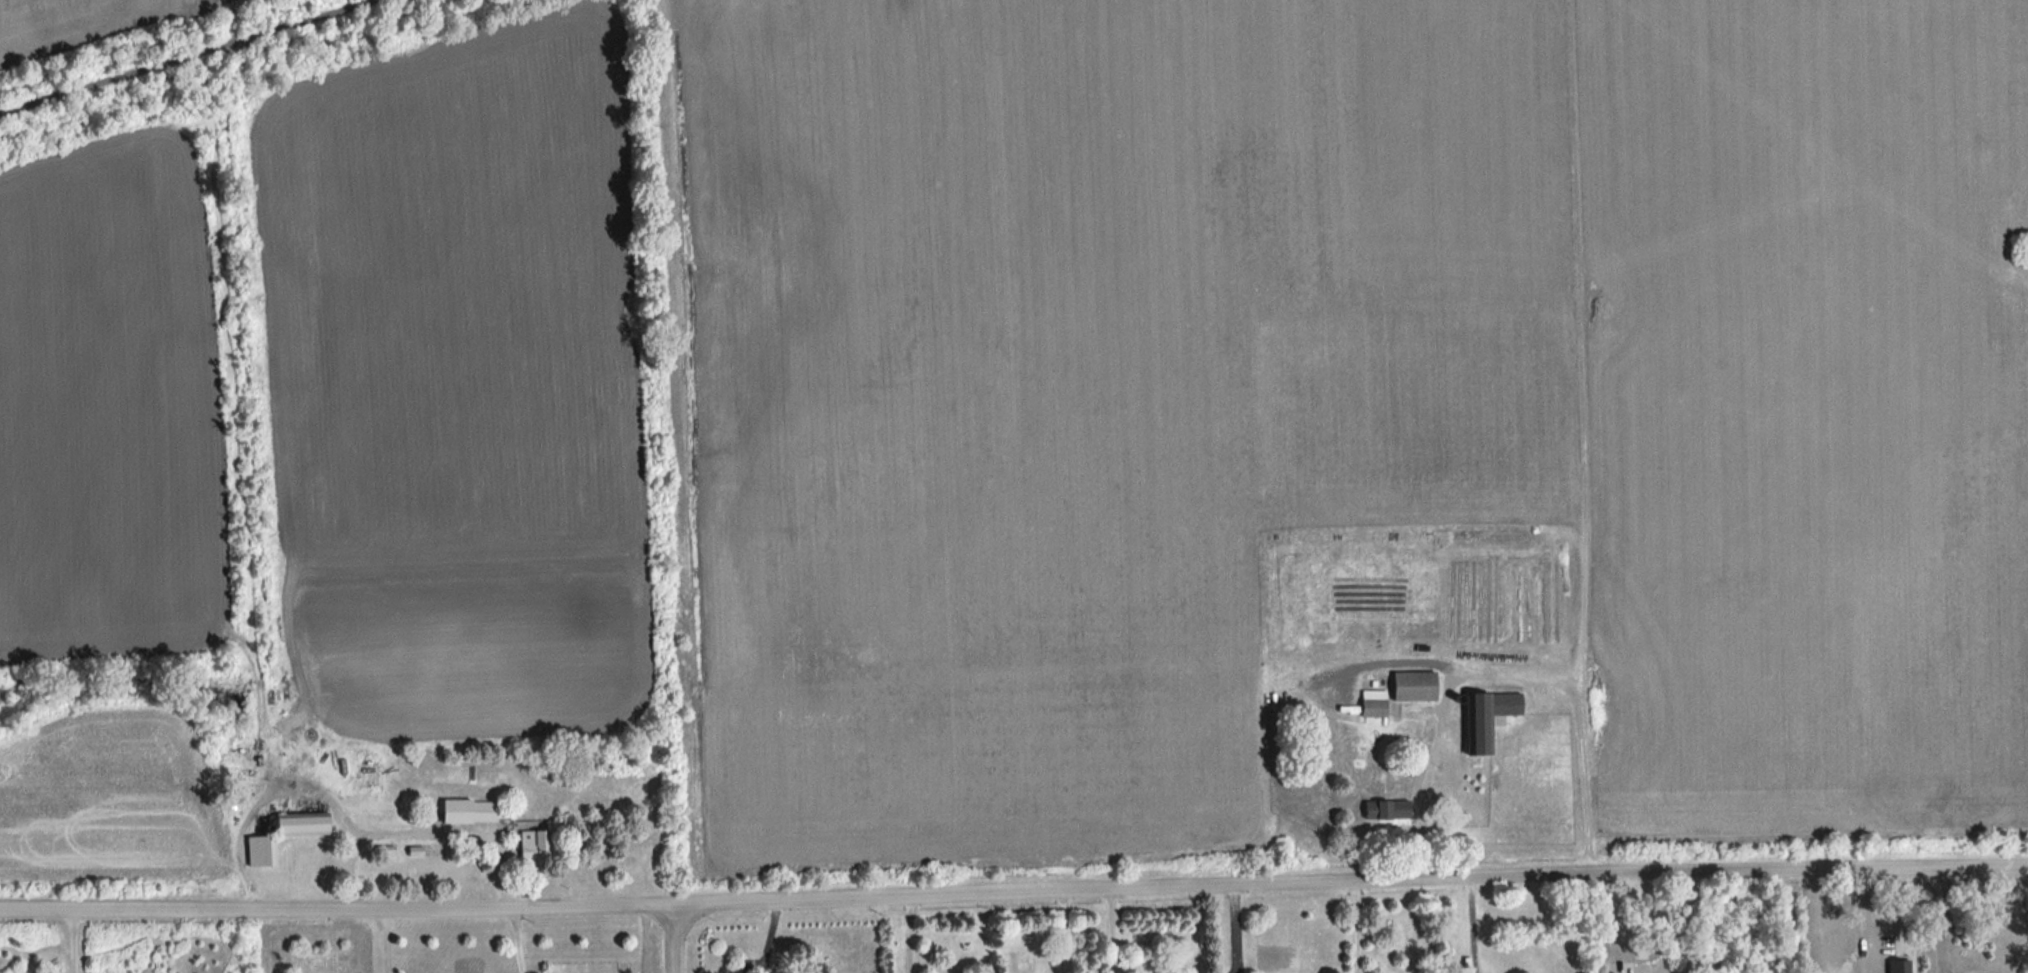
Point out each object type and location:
crop: (68, 24)
road: (191, 57)
crop: (2020, 247)
crop: (2020, 247)
crop: (2020, 247)
crop: (2020, 247)
crop: (469, 384)
crop: (1343, 392)
crop: (108, 401)
building: (1410, 687)
building: (1370, 709)
building: (1477, 736)
crop: (110, 801)
road: (267, 803)
building: (1383, 809)
building: (466, 812)
building: (294, 827)
road: (427, 835)
road: (1014, 895)
road: (1939, 919)
road: (1473, 927)
road: (1359, 929)
road: (1238, 931)
road: (1111, 932)
road: (1063, 933)
road: (907, 936)
road: (386, 940)
road: (520, 940)
road: (673, 940)
road: (73, 941)
road: (1642, 957)

